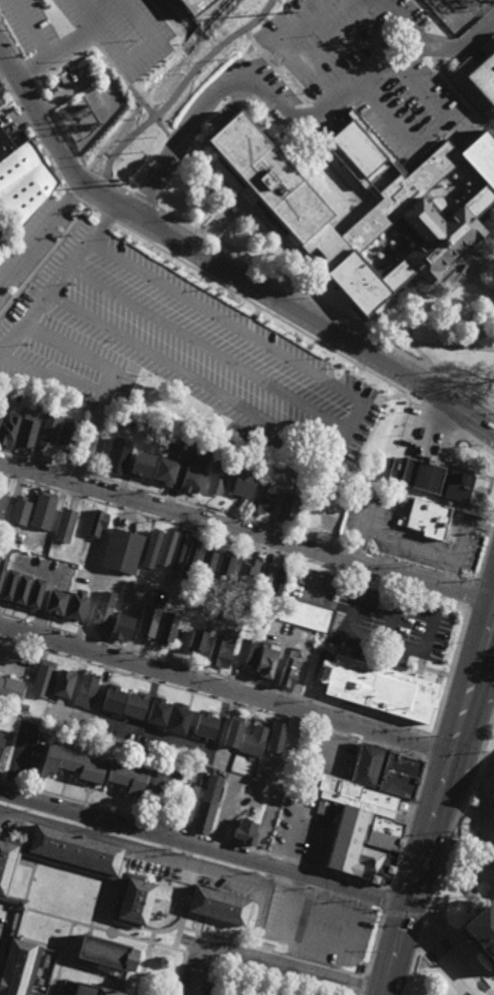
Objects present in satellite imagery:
building: (194, 5)
power substation: (460, 12)
power tower: (287, 13)
road: (409, 23)
road: (29, 27)
road: (66, 40)
parking lot: (89, 44)
road: (140, 54)
power tower: (222, 56)
parking lot: (359, 61)
road: (306, 63)
building: (465, 65)
building: (483, 78)
road: (181, 85)
road: (348, 93)
parking lot: (4, 98)
power substation: (88, 114)
road: (56, 117)
road: (33, 134)
building: (266, 175)
building: (23, 179)
road: (101, 184)
power tower: (129, 184)
road: (72, 194)
road: (356, 194)
road: (369, 198)
road: (146, 201)
road: (84, 202)
road: (95, 209)
building: (410, 210)
road: (248, 212)
road: (225, 216)
road: (111, 217)
road: (41, 230)
parking lot: (36, 235)
parking lot: (1, 237)
road: (323, 238)
road: (341, 249)
road: (335, 253)
power tower: (59, 255)
road: (45, 261)
road: (221, 261)
road: (481, 261)
road: (306, 265)
road: (463, 265)
road: (63, 276)
road: (294, 290)
road: (271, 296)
parking lot: (268, 300)
road: (255, 312)
road: (269, 315)
road: (225, 320)
road: (414, 321)
road: (250, 325)
road: (193, 339)
parking lot: (154, 347)
road: (2, 350)
road: (2, 352)
road: (78, 352)
road: (175, 367)
road: (449, 380)
road: (98, 391)
road: (443, 416)
building: (8, 427)
road: (308, 427)
building: (350, 427)
building: (48, 430)
building: (27, 431)
building: (66, 434)
road: (479, 448)
building: (127, 459)
road: (41, 461)
building: (163, 471)
road: (89, 474)
building: (217, 479)
building: (192, 480)
building: (439, 480)
building: (242, 482)
building: (260, 498)
building: (287, 507)
building: (0, 510)
building: (20, 510)
building: (43, 510)
road: (223, 513)
building: (430, 520)
building: (97, 524)
road: (177, 524)
building: (65, 525)
road: (246, 530)
building: (165, 548)
building: (150, 549)
building: (177, 550)
building: (121, 551)
road: (357, 551)
road: (483, 551)
building: (206, 559)
building: (188, 561)
building: (224, 562)
road: (402, 564)
building: (2, 568)
building: (246, 573)
road: (362, 576)
road: (448, 578)
building: (271, 579)
road: (464, 582)
building: (8, 585)
building: (21, 589)
road: (420, 592)
building: (34, 594)
road: (471, 595)
building: (55, 603)
building: (76, 604)
building: (103, 610)
building: (305, 614)
building: (147, 621)
road: (391, 622)
building: (121, 627)
building: (166, 628)
road: (374, 639)
building: (196, 643)
building: (245, 651)
building: (220, 653)
building: (265, 659)
road: (450, 671)
building: (288, 673)
road: (216, 675)
building: (42, 678)
building: (63, 683)
building: (376, 687)
building: (10, 689)
road: (225, 690)
building: (87, 691)
road: (213, 697)
building: (113, 699)
building: (134, 705)
building: (158, 712)
building: (178, 719)
building: (204, 725)
building: (232, 731)
building: (275, 735)
building: (1, 738)
building: (252, 741)
road: (429, 746)
building: (93, 769)
building: (388, 771)
road: (278, 786)
building: (492, 790)
building: (356, 798)
building: (187, 804)
building: (207, 804)
road: (104, 809)
road: (434, 815)
road: (481, 816)
road: (409, 823)
building: (493, 824)
road: (14, 828)
road: (488, 830)
building: (244, 832)
building: (386, 834)
road: (216, 840)
road: (239, 846)
road: (205, 847)
building: (359, 849)
road: (445, 851)
building: (75, 852)
road: (470, 853)
road: (131, 854)
building: (493, 854)
road: (167, 861)
road: (129, 863)
building: (7, 866)
road: (320, 869)
road: (194, 879)
road: (410, 893)
building: (132, 901)
road: (385, 901)
road: (96, 902)
traffic signals: (411, 904)
building: (222, 908)
parking lot: (371, 914)
road: (404, 914)
road: (178, 924)
road: (113, 928)
road: (450, 928)
road: (89, 930)
road: (106, 930)
building: (481, 933)
road: (3, 934)
road: (177, 935)
road: (211, 936)
road: (328, 944)
road: (43, 945)
road: (372, 945)
road: (3, 946)
road: (254, 948)
road: (467, 955)
road: (62, 958)
road: (455, 961)
building: (104, 962)
road: (274, 962)
road: (144, 963)
road: (313, 963)
building: (18, 967)
road: (101, 969)
road: (441, 971)
road: (179, 973)
road: (361, 985)
road: (359, 994)
road: (359, 994)

